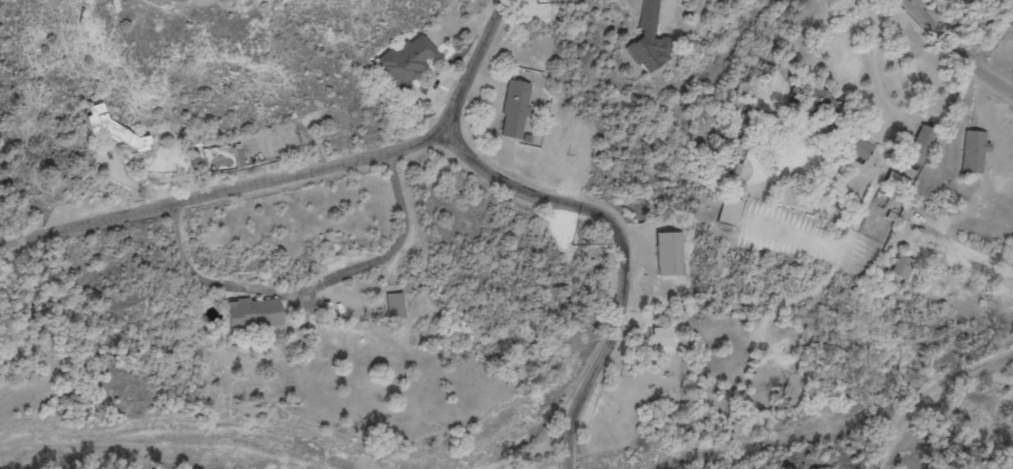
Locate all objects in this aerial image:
building: (967, 13)
building: (650, 39)
road: (950, 54)
building: (408, 60)
building: (515, 109)
road: (877, 109)
building: (114, 129)
building: (922, 144)
building: (859, 146)
building: (975, 150)
power tower: (556, 158)
building: (898, 181)
road: (300, 185)
road: (776, 193)
building: (730, 210)
building: (669, 253)
road: (625, 254)
building: (333, 262)
building: (903, 267)
building: (396, 305)
building: (255, 314)
building: (661, 337)
road: (958, 378)
river: (931, 395)
river: (973, 417)
river: (820, 433)
road: (895, 442)
river: (182, 450)

